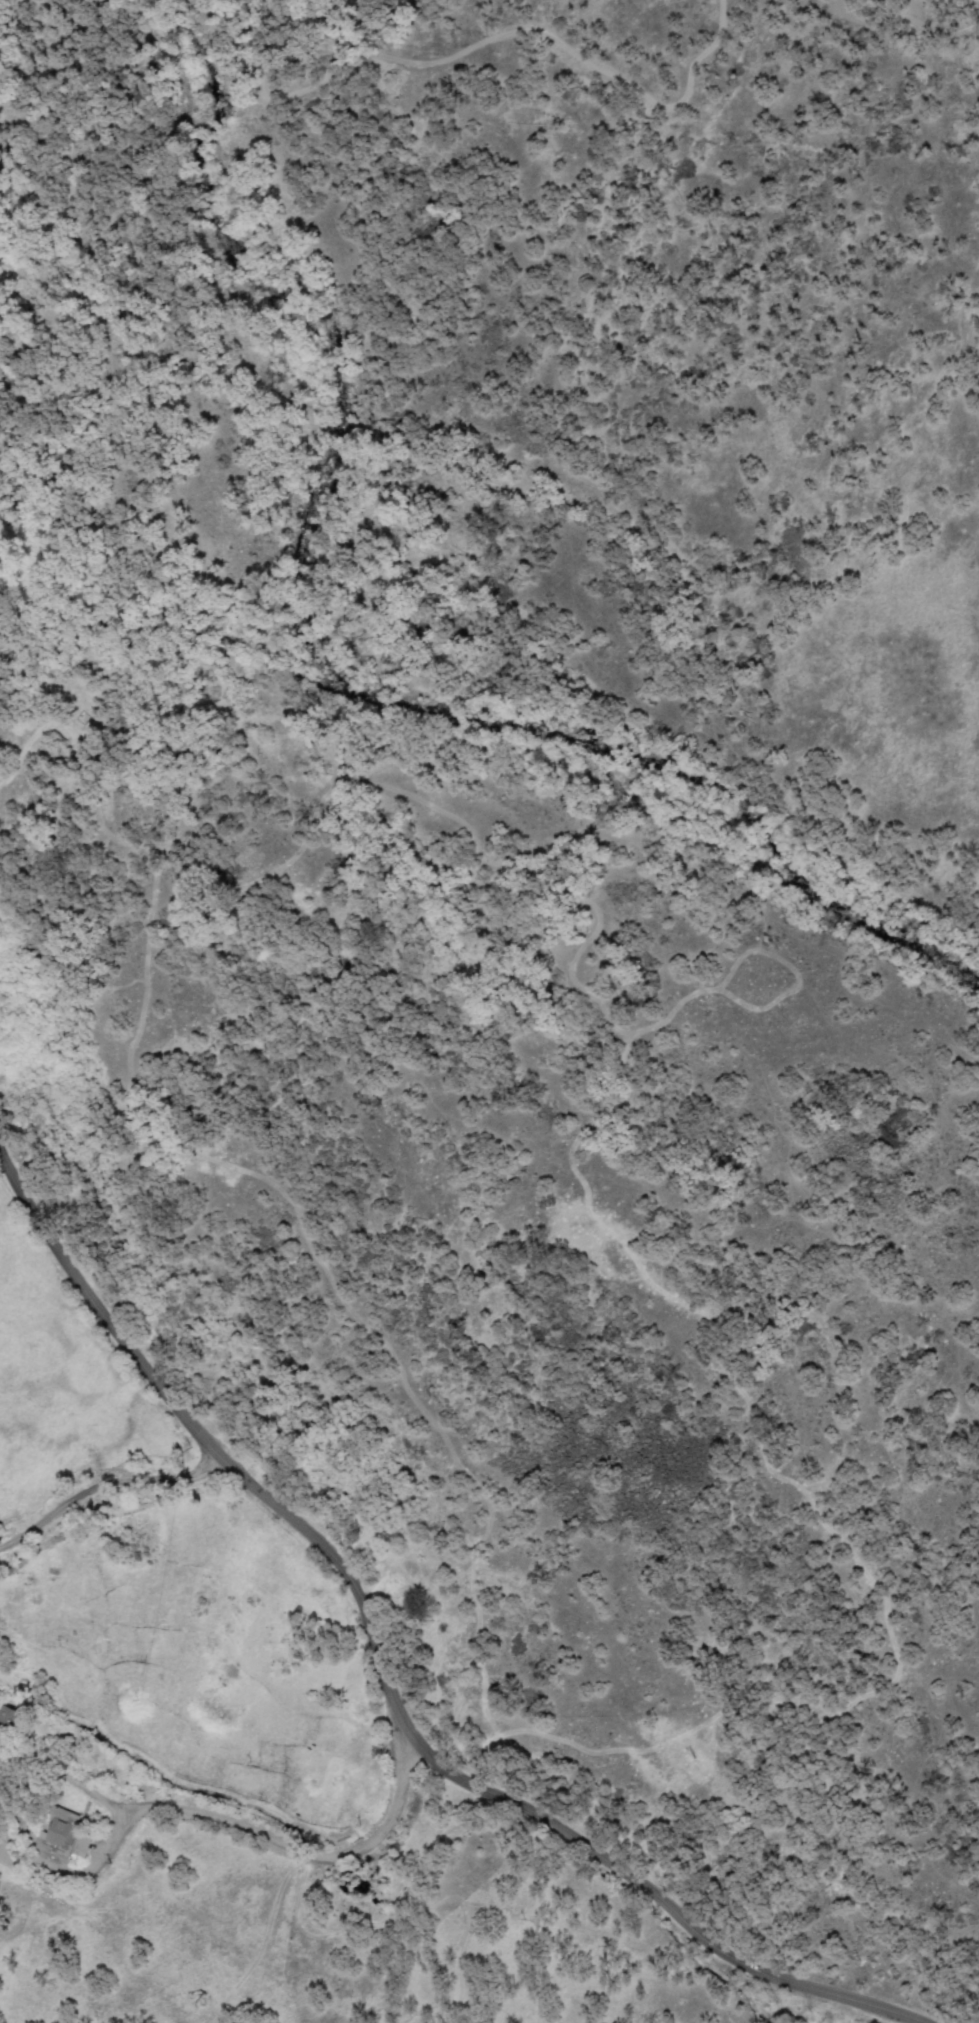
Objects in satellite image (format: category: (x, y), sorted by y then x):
river: (341, 665)
road: (112, 1502)
road: (383, 1678)
building: (6, 1721)
building: (63, 1838)

